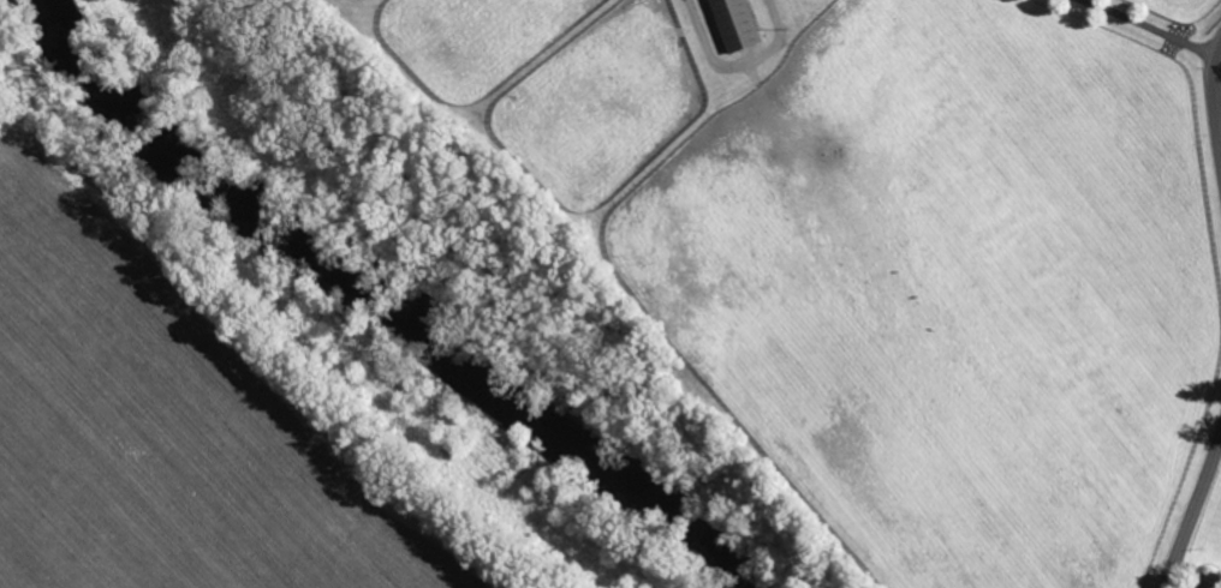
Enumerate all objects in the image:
building: (734, 24)
road: (1150, 28)
road: (737, 65)
road: (1216, 98)
river: (368, 281)
road: (1192, 500)
building: (1207, 583)

